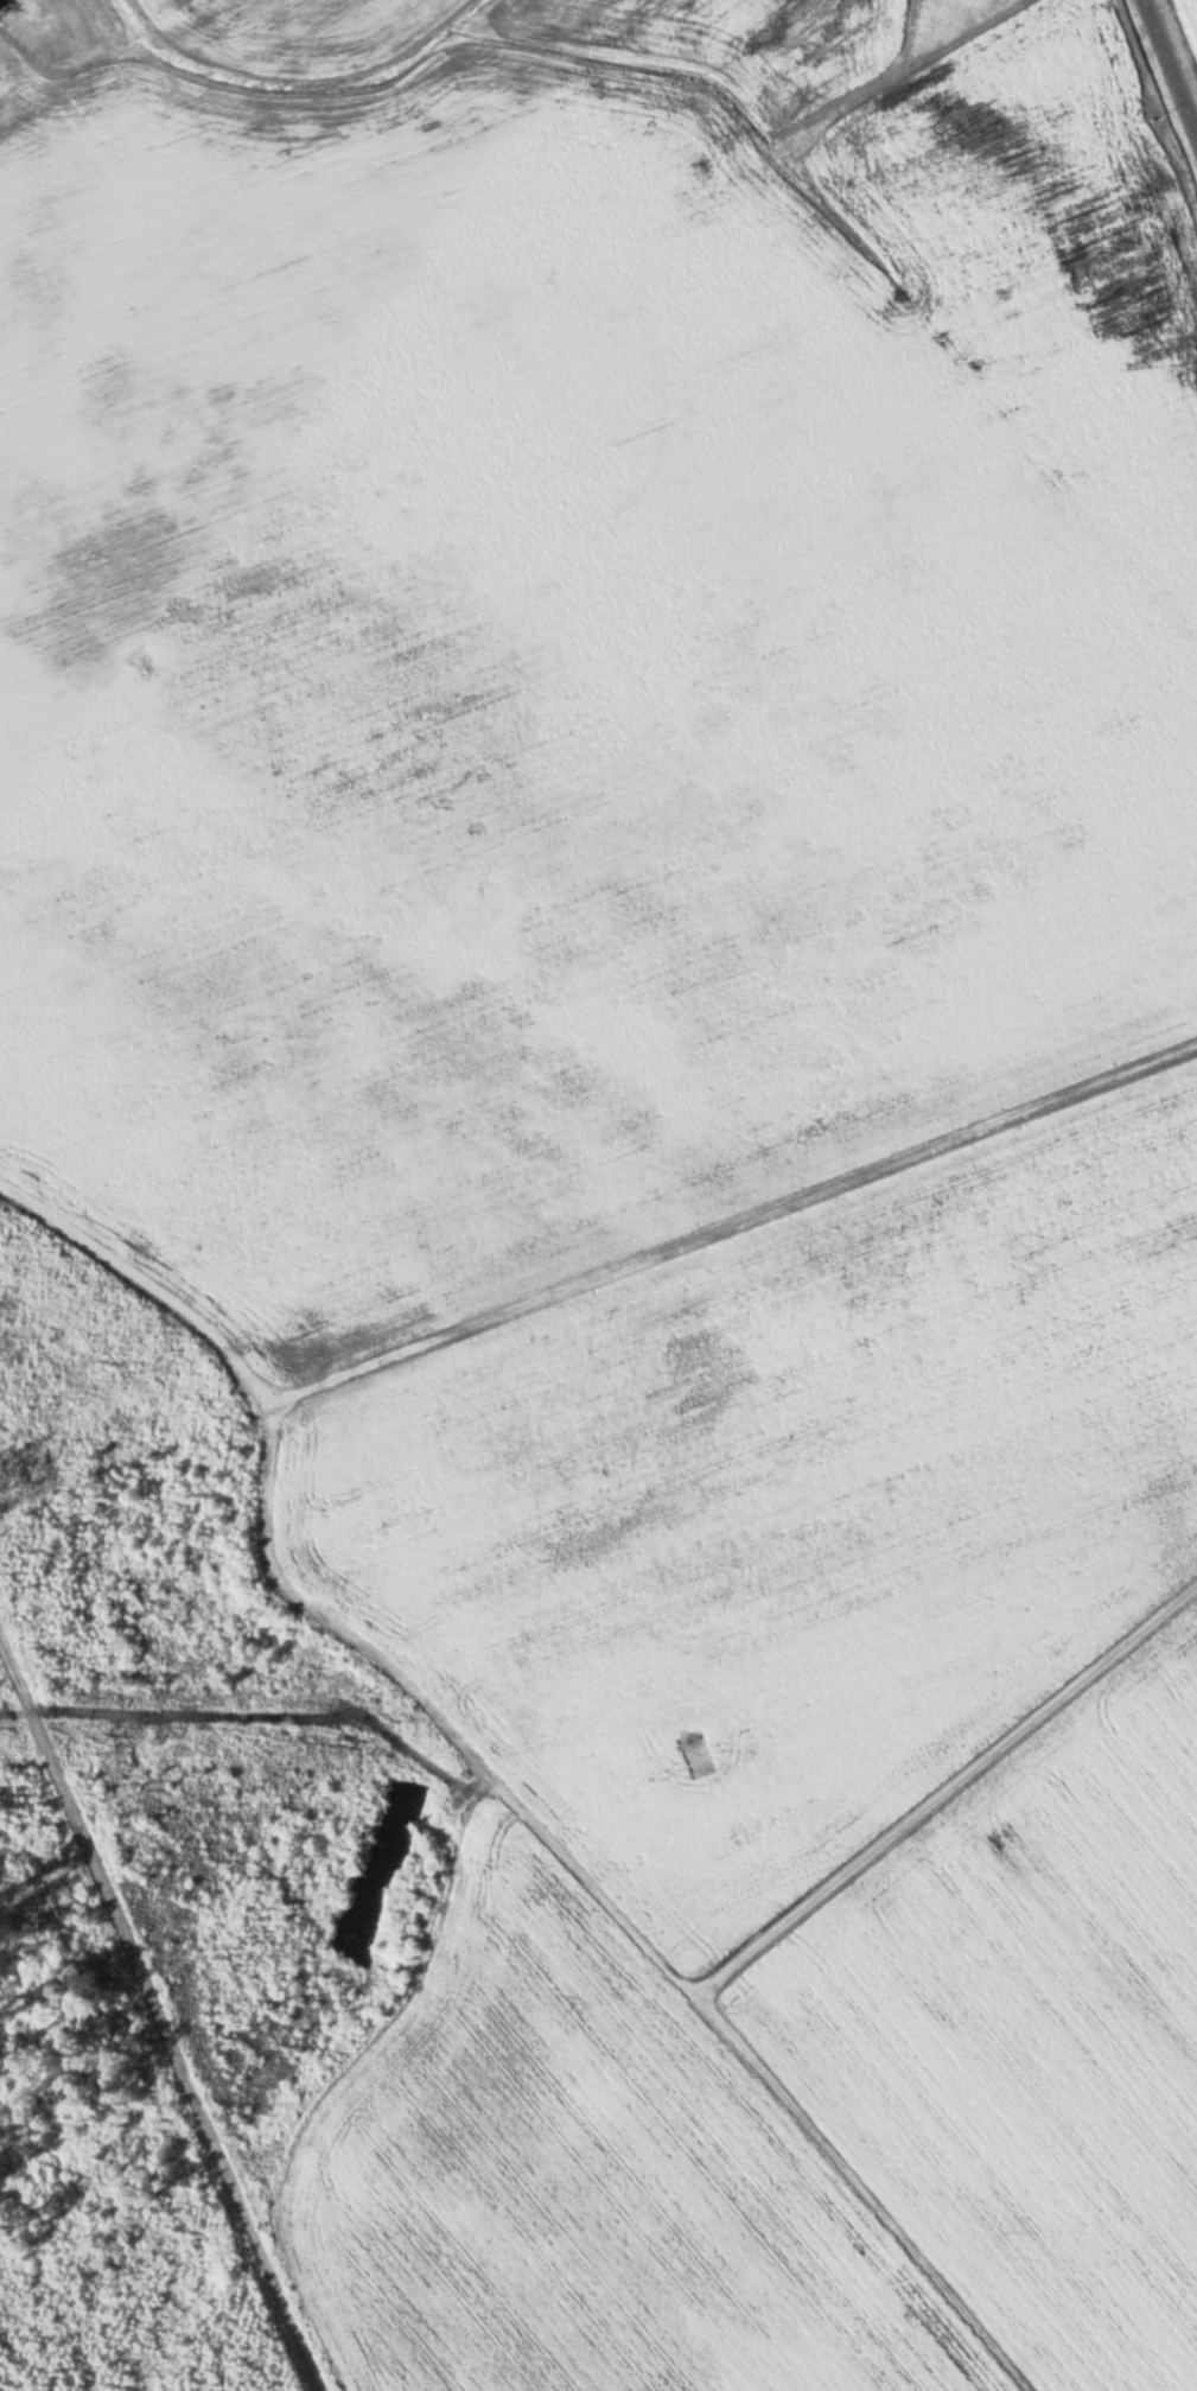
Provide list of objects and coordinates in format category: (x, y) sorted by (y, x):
road: (1184, 30)
road: (59, 1610)
power tower: (136, 1729)
power tower: (696, 1740)

